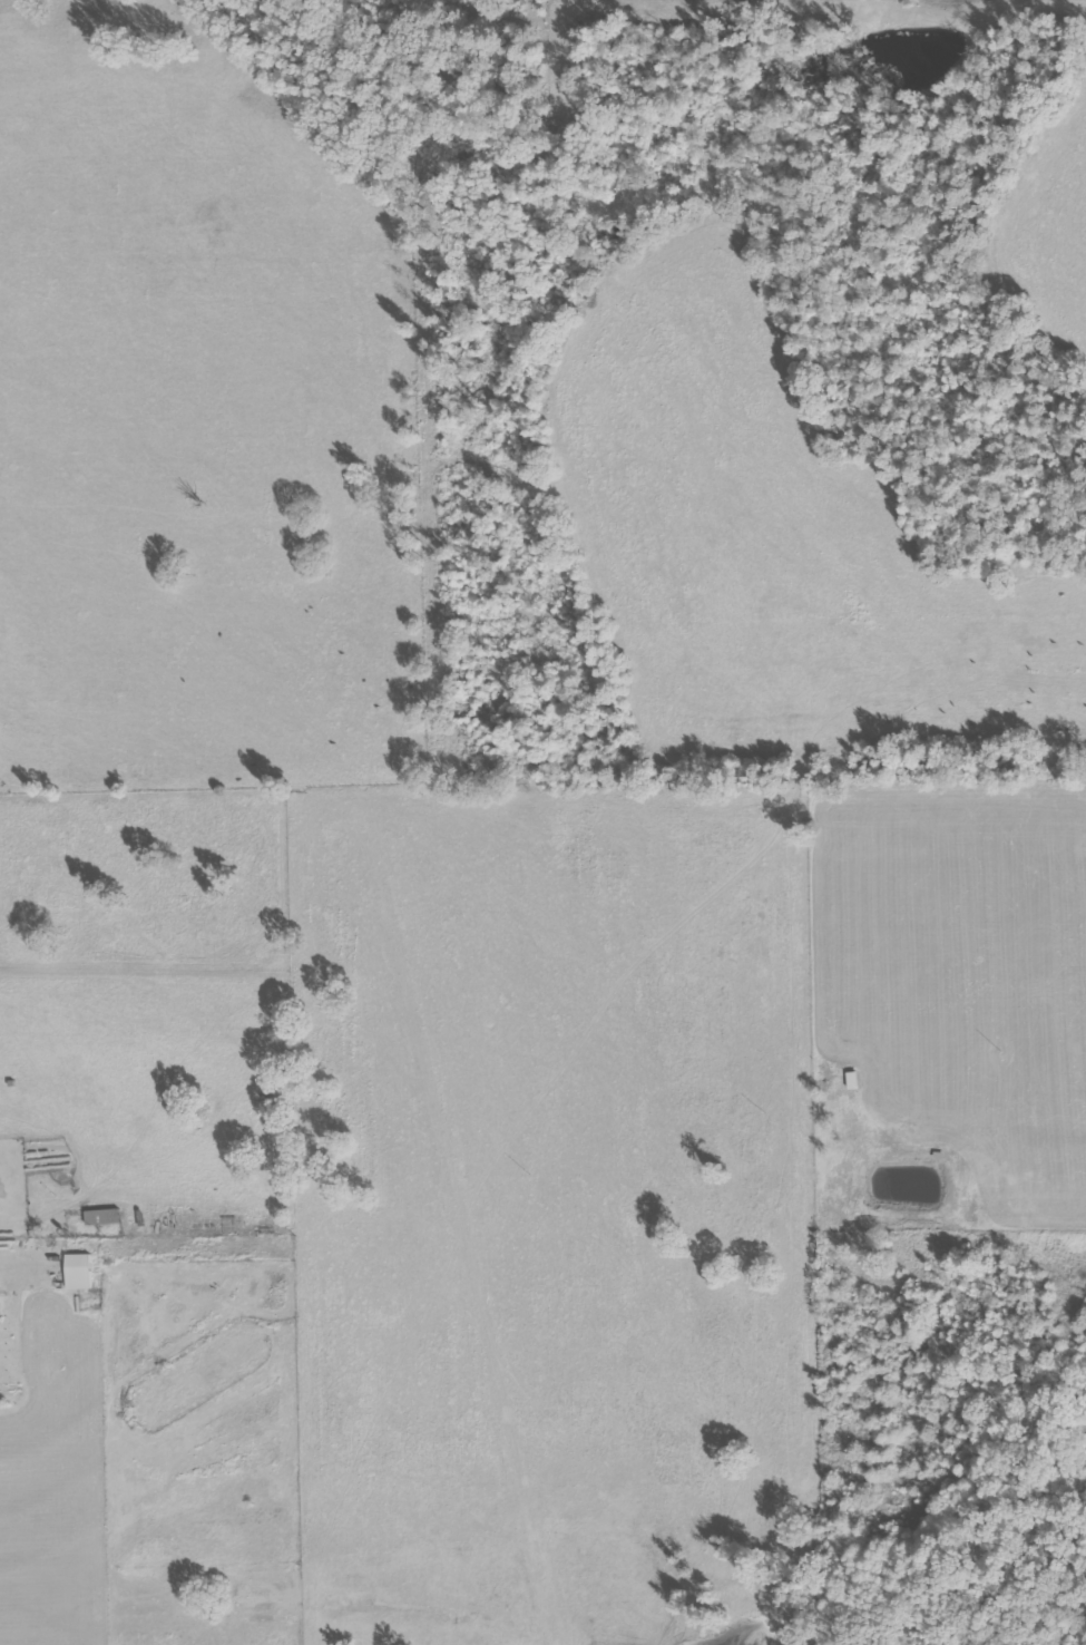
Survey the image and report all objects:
building: (107, 1217)
building: (82, 1272)
building: (1, 1296)

